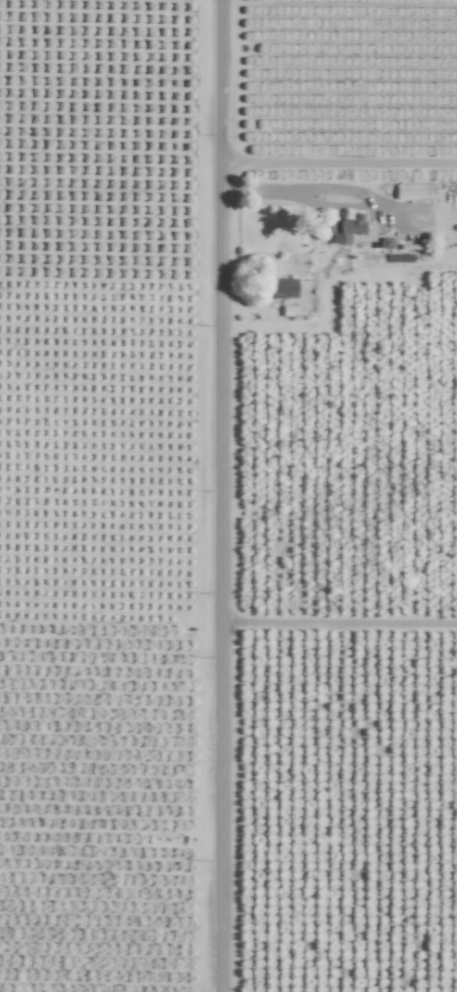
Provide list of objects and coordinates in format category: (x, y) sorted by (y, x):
building: (414, 191)
road: (285, 198)
building: (344, 229)
building: (282, 287)
road: (227, 495)

